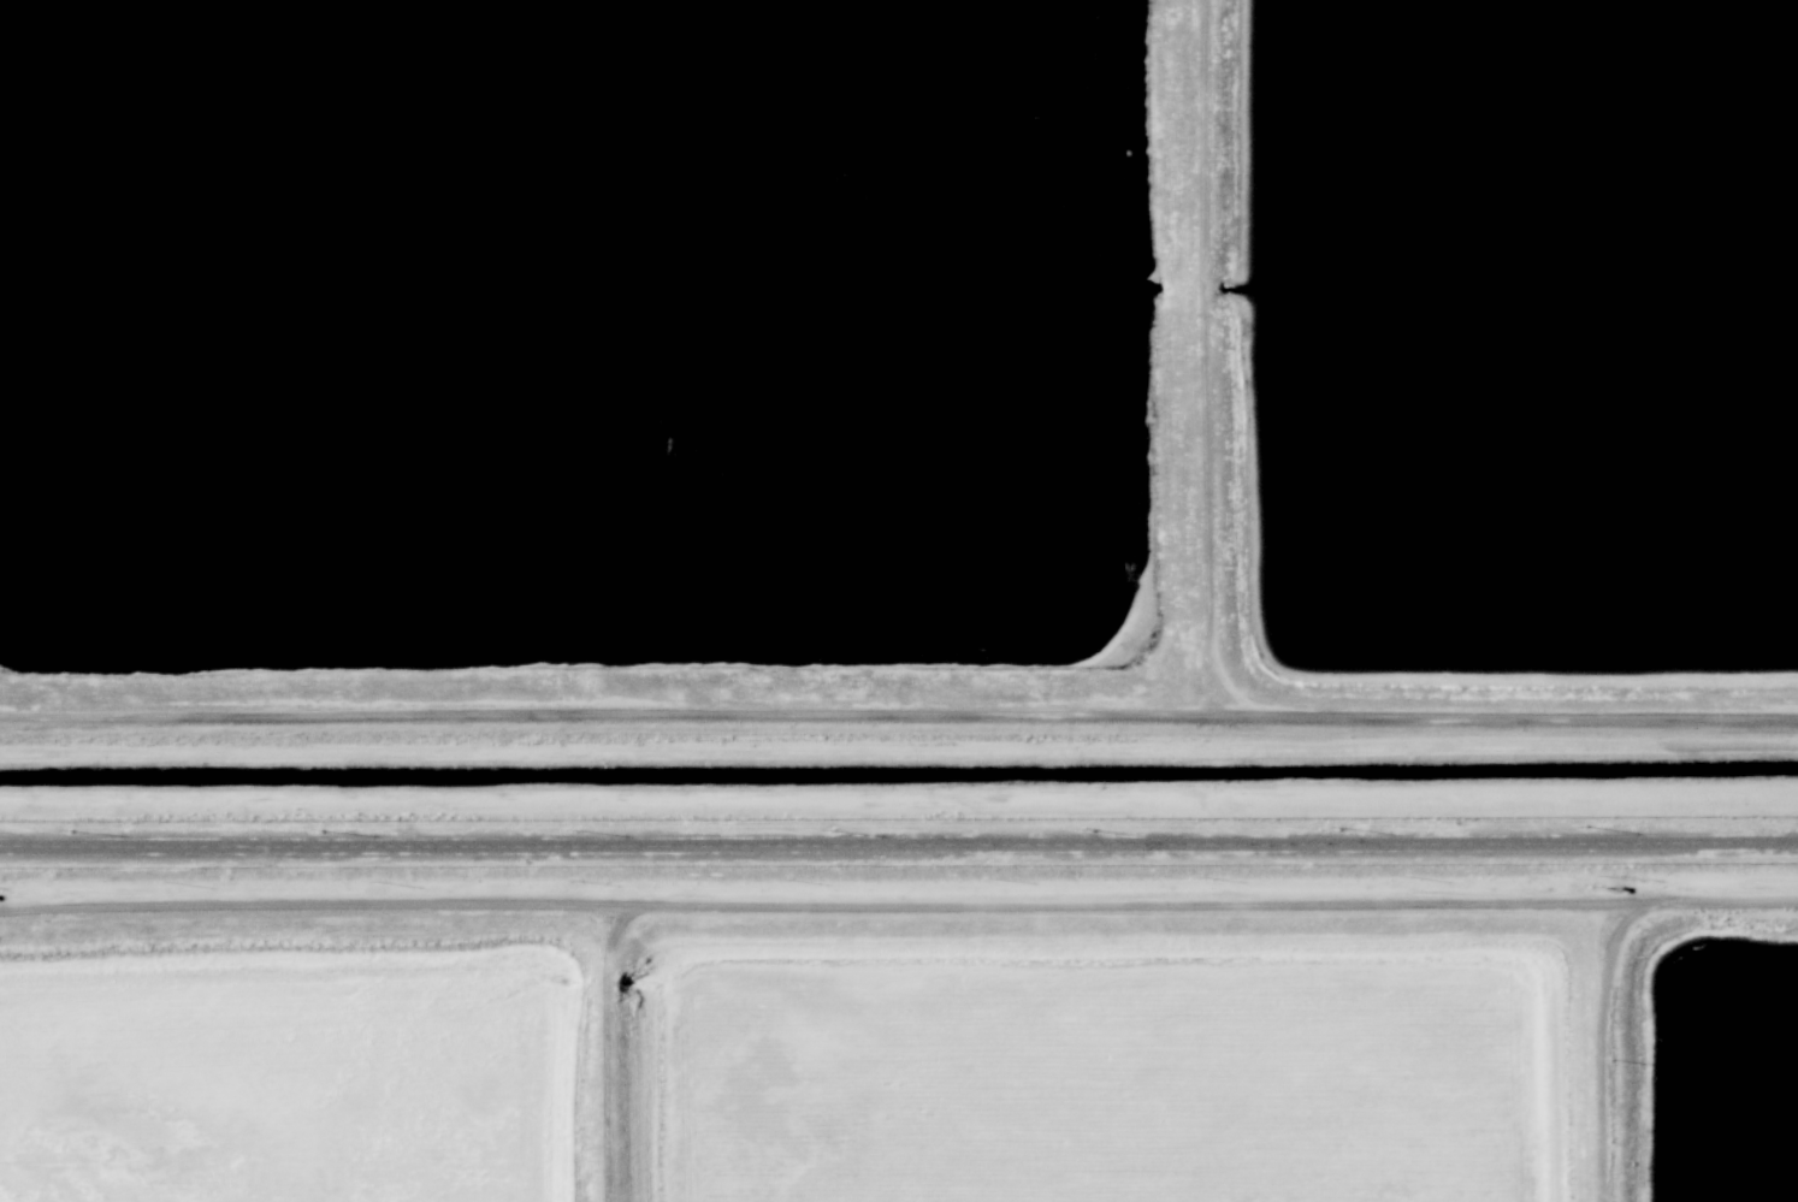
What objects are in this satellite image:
wastewater plant: (1524, 336)
wastewater plant: (580, 344)
wastewater plant: (899, 600)
road: (1213, 649)
road: (607, 710)
road: (899, 801)
road: (899, 841)
road: (1065, 902)
road: (320, 912)
road: (1597, 1050)
wastewater plant: (1721, 1067)
wastewater plant: (1111, 1079)
wastewater plant: (280, 1084)

